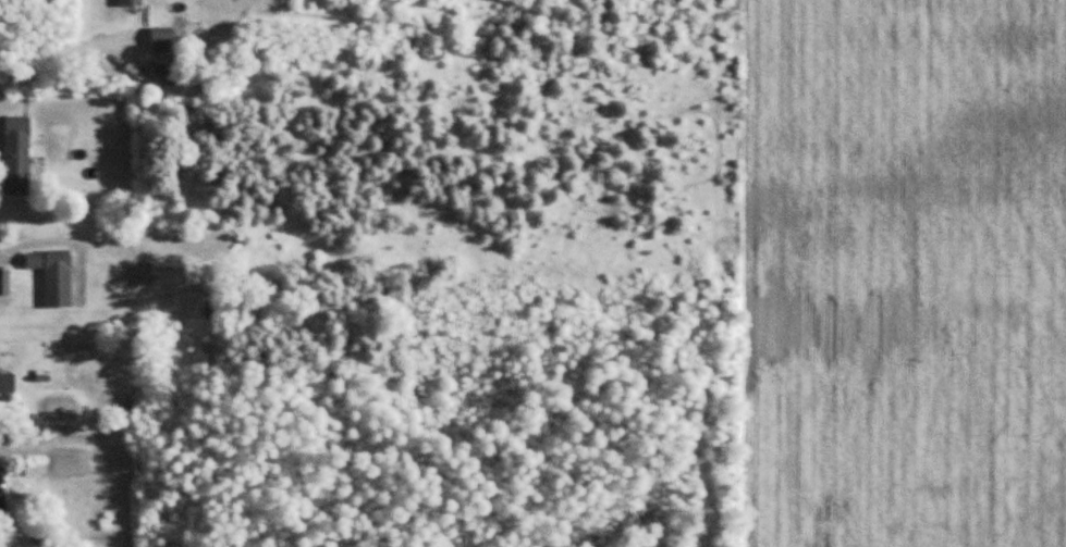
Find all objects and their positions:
building: (132, 3)
building: (161, 38)
building: (168, 75)
building: (16, 156)
building: (169, 274)
building: (54, 275)
building: (4, 282)
building: (7, 384)
building: (2, 494)

